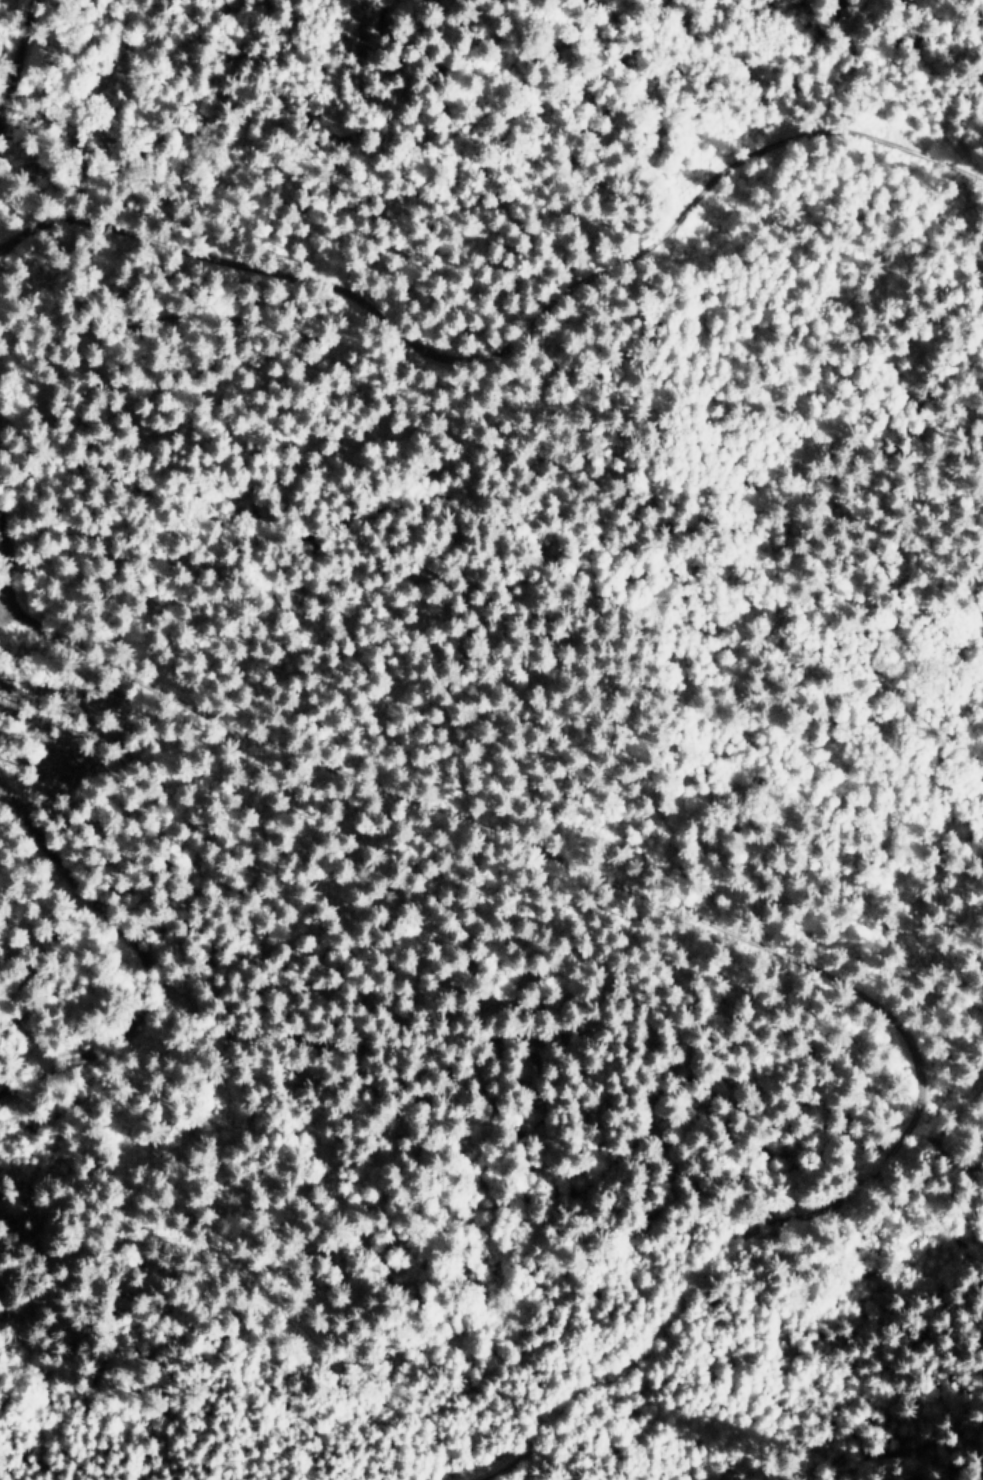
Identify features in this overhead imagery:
road: (4, 291)
road: (527, 375)
road: (25, 605)
road: (354, 816)
road: (120, 982)

